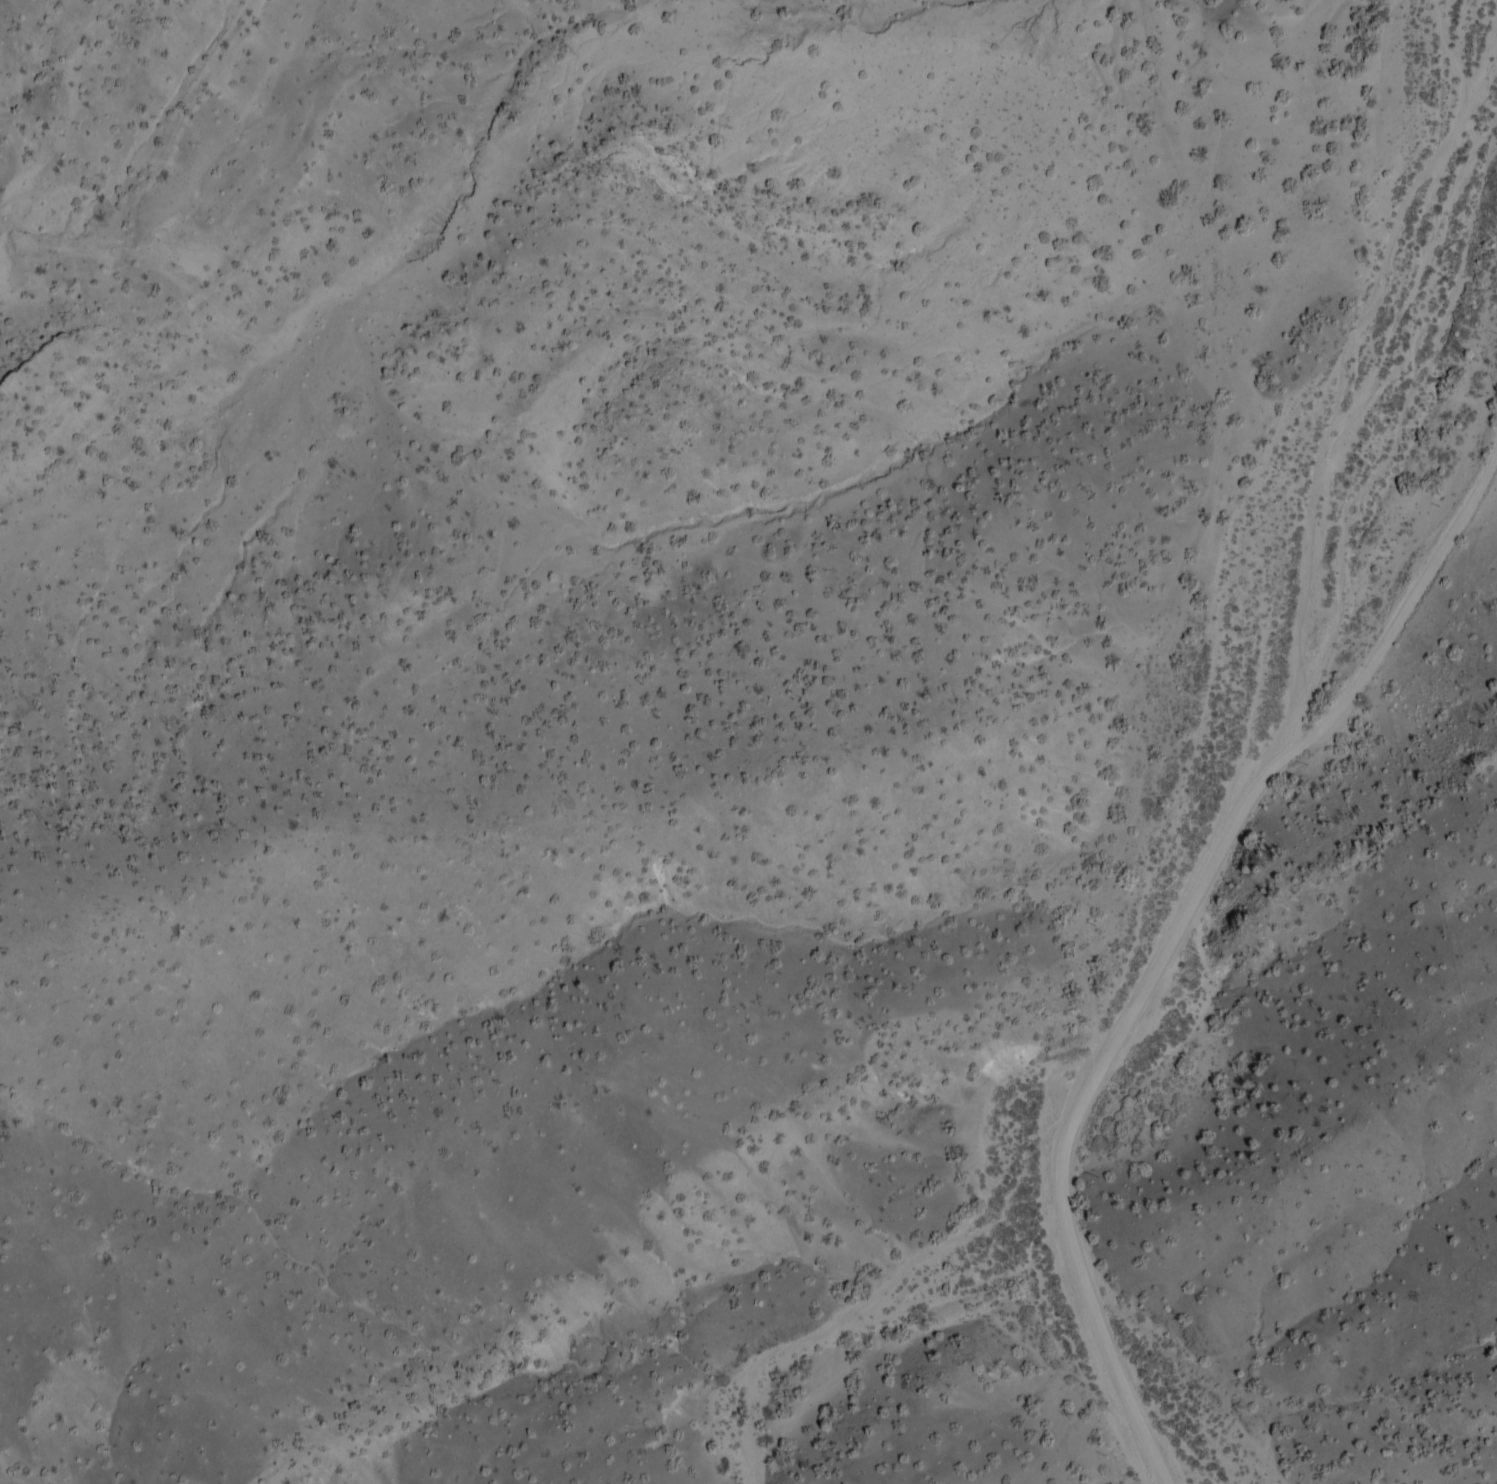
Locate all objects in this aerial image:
road: (1172, 940)

